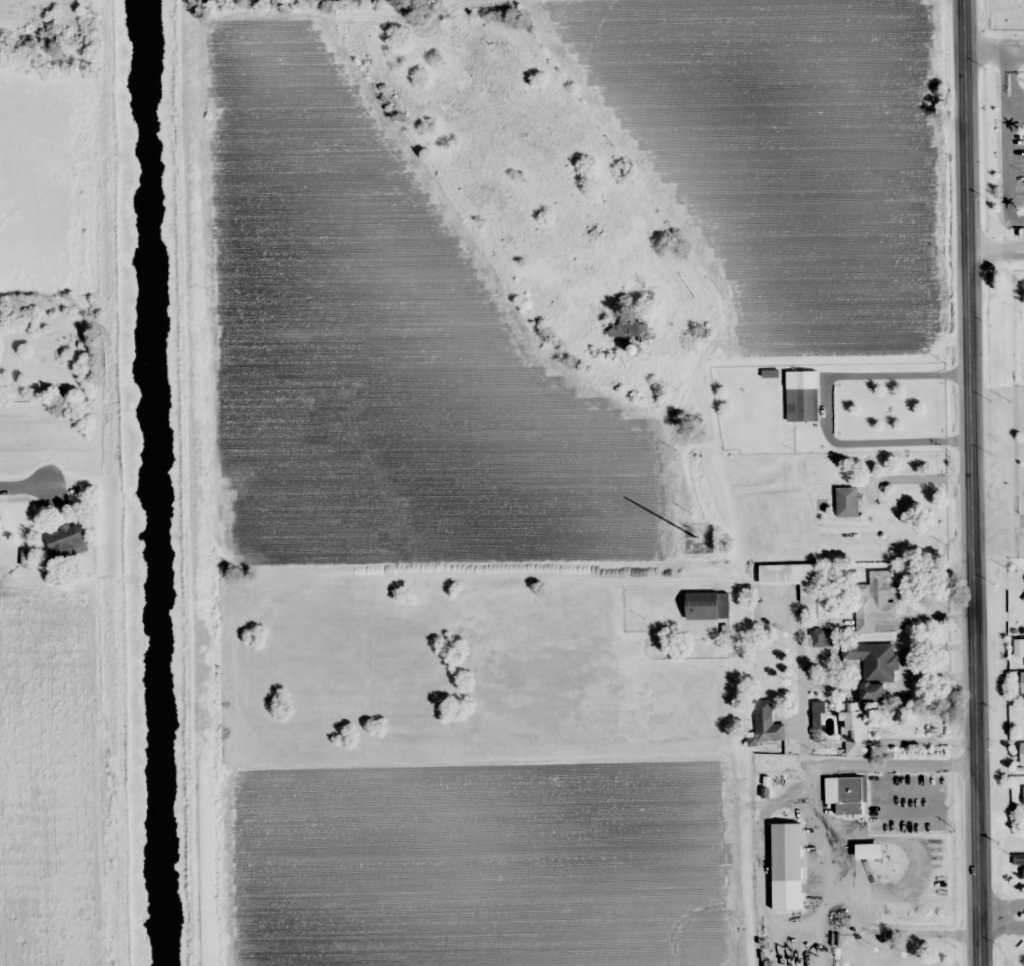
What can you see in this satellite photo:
building: (625, 327)
building: (804, 404)
road: (978, 482)
river: (154, 483)
road: (28, 490)
building: (848, 501)
building: (0, 528)
building: (64, 540)
building: (792, 578)
building: (876, 600)
building: (707, 605)
building: (823, 638)
building: (1023, 674)
building: (867, 690)
building: (767, 723)
building: (845, 794)
building: (869, 851)
building: (787, 866)
road: (1005, 910)
building: (891, 963)

